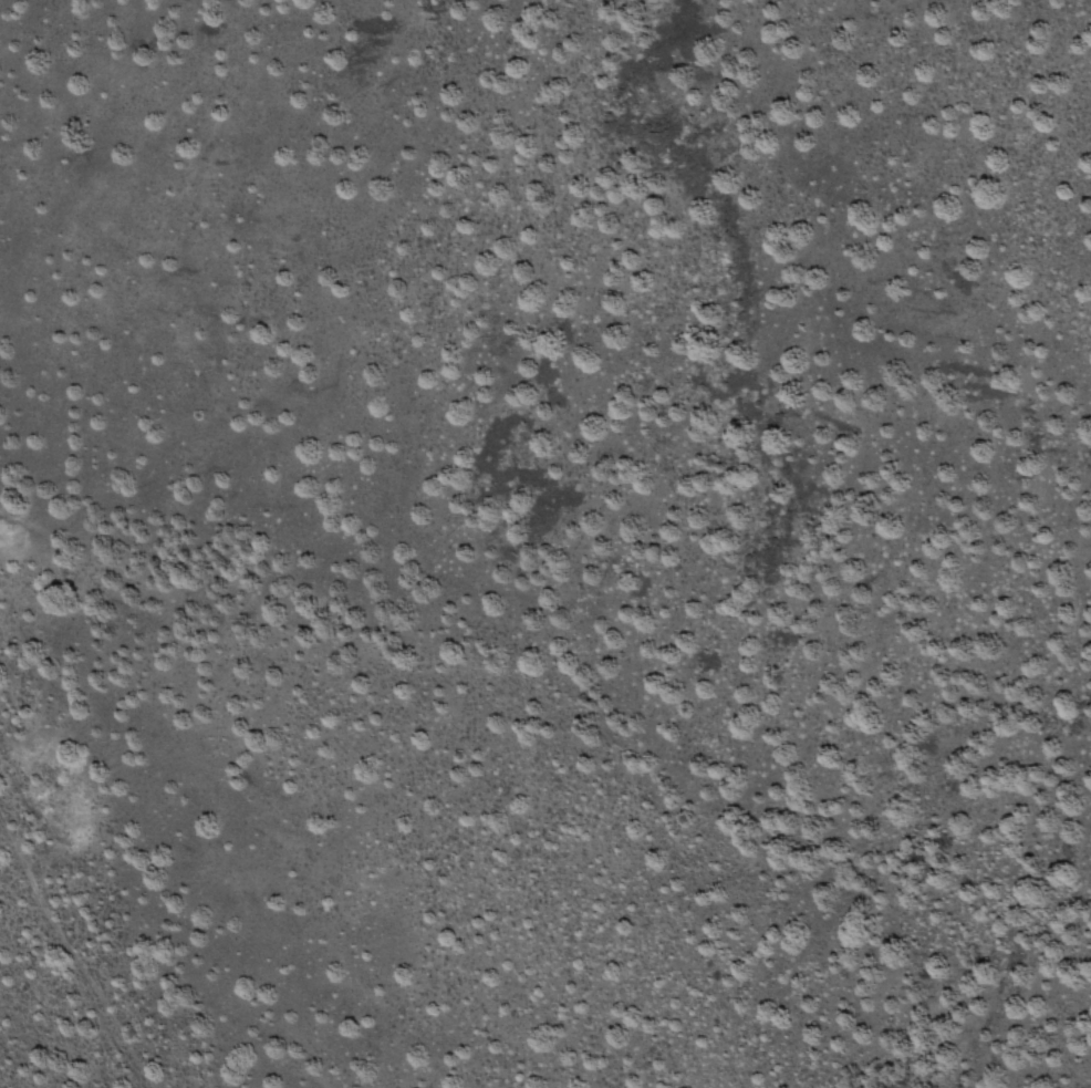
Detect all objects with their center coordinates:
road: (73, 952)

